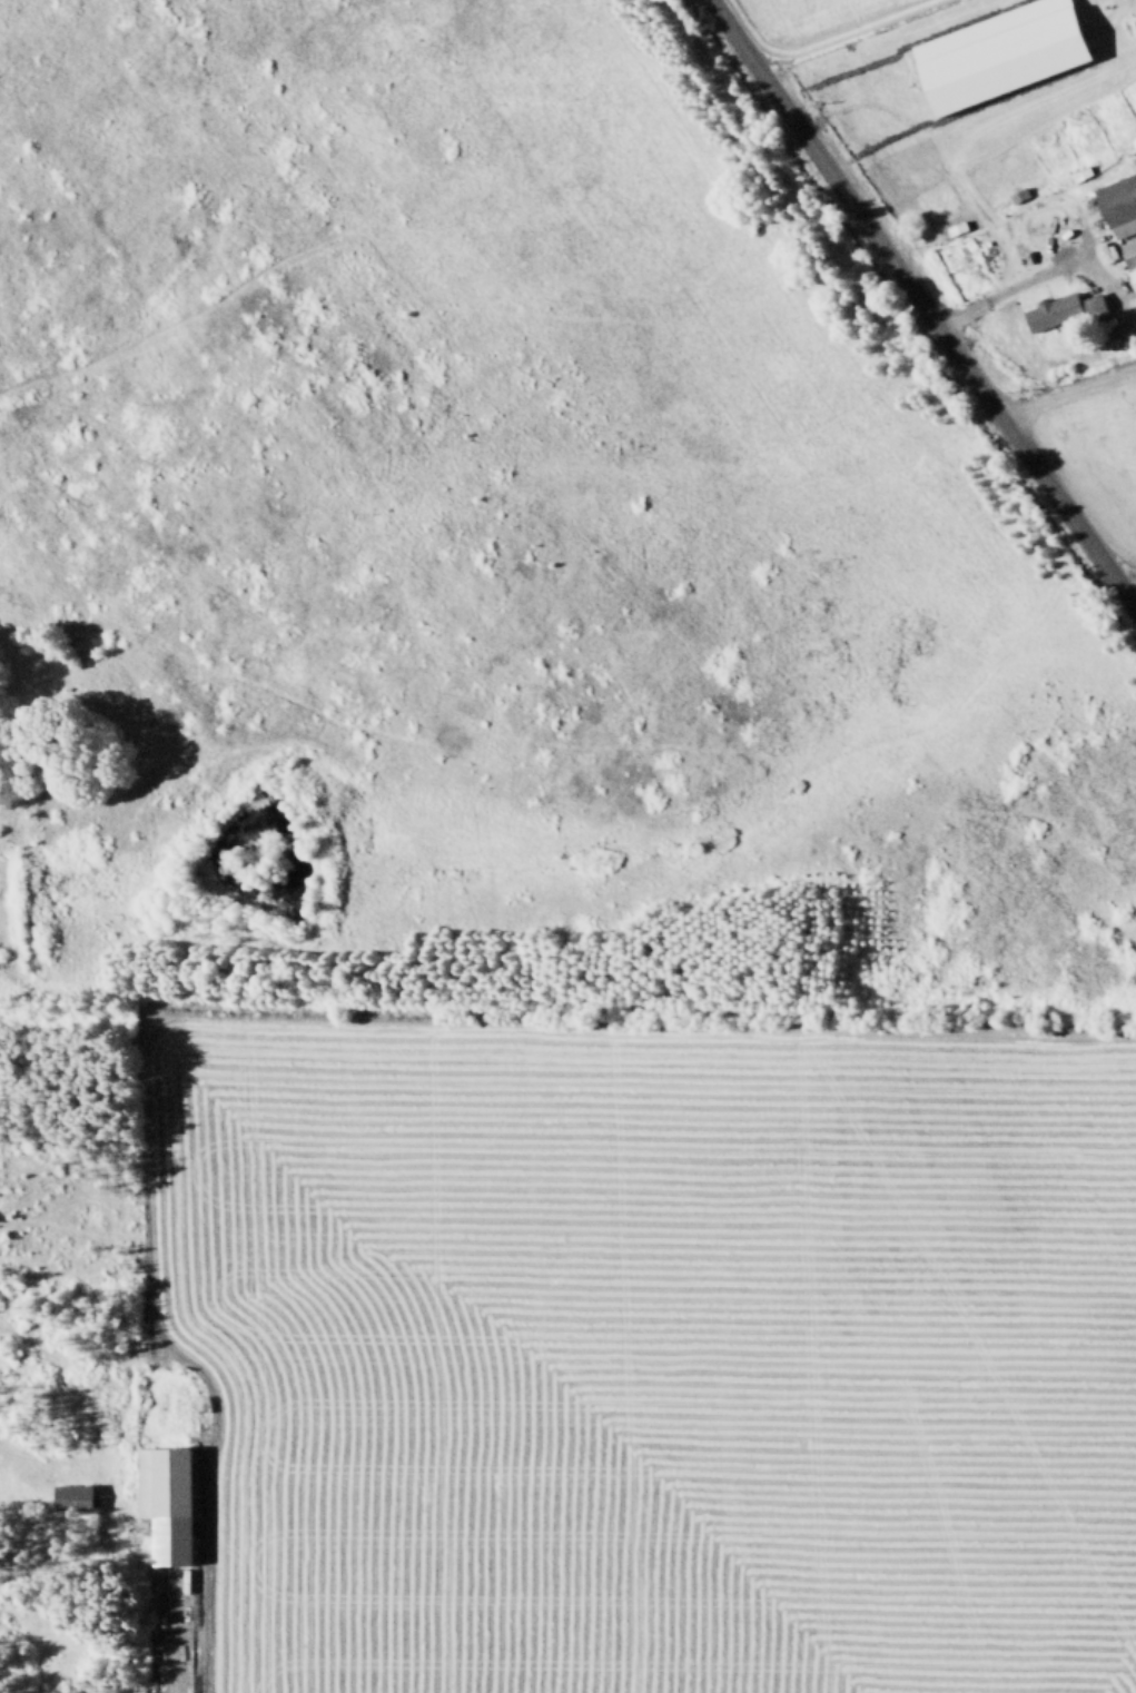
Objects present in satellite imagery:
building: (1006, 53)
building: (1119, 204)
building: (1130, 253)
road: (1007, 288)
road: (921, 305)
building: (1066, 310)
road: (1068, 393)
crop: (567, 846)
building: (69, 1495)
building: (162, 1498)

